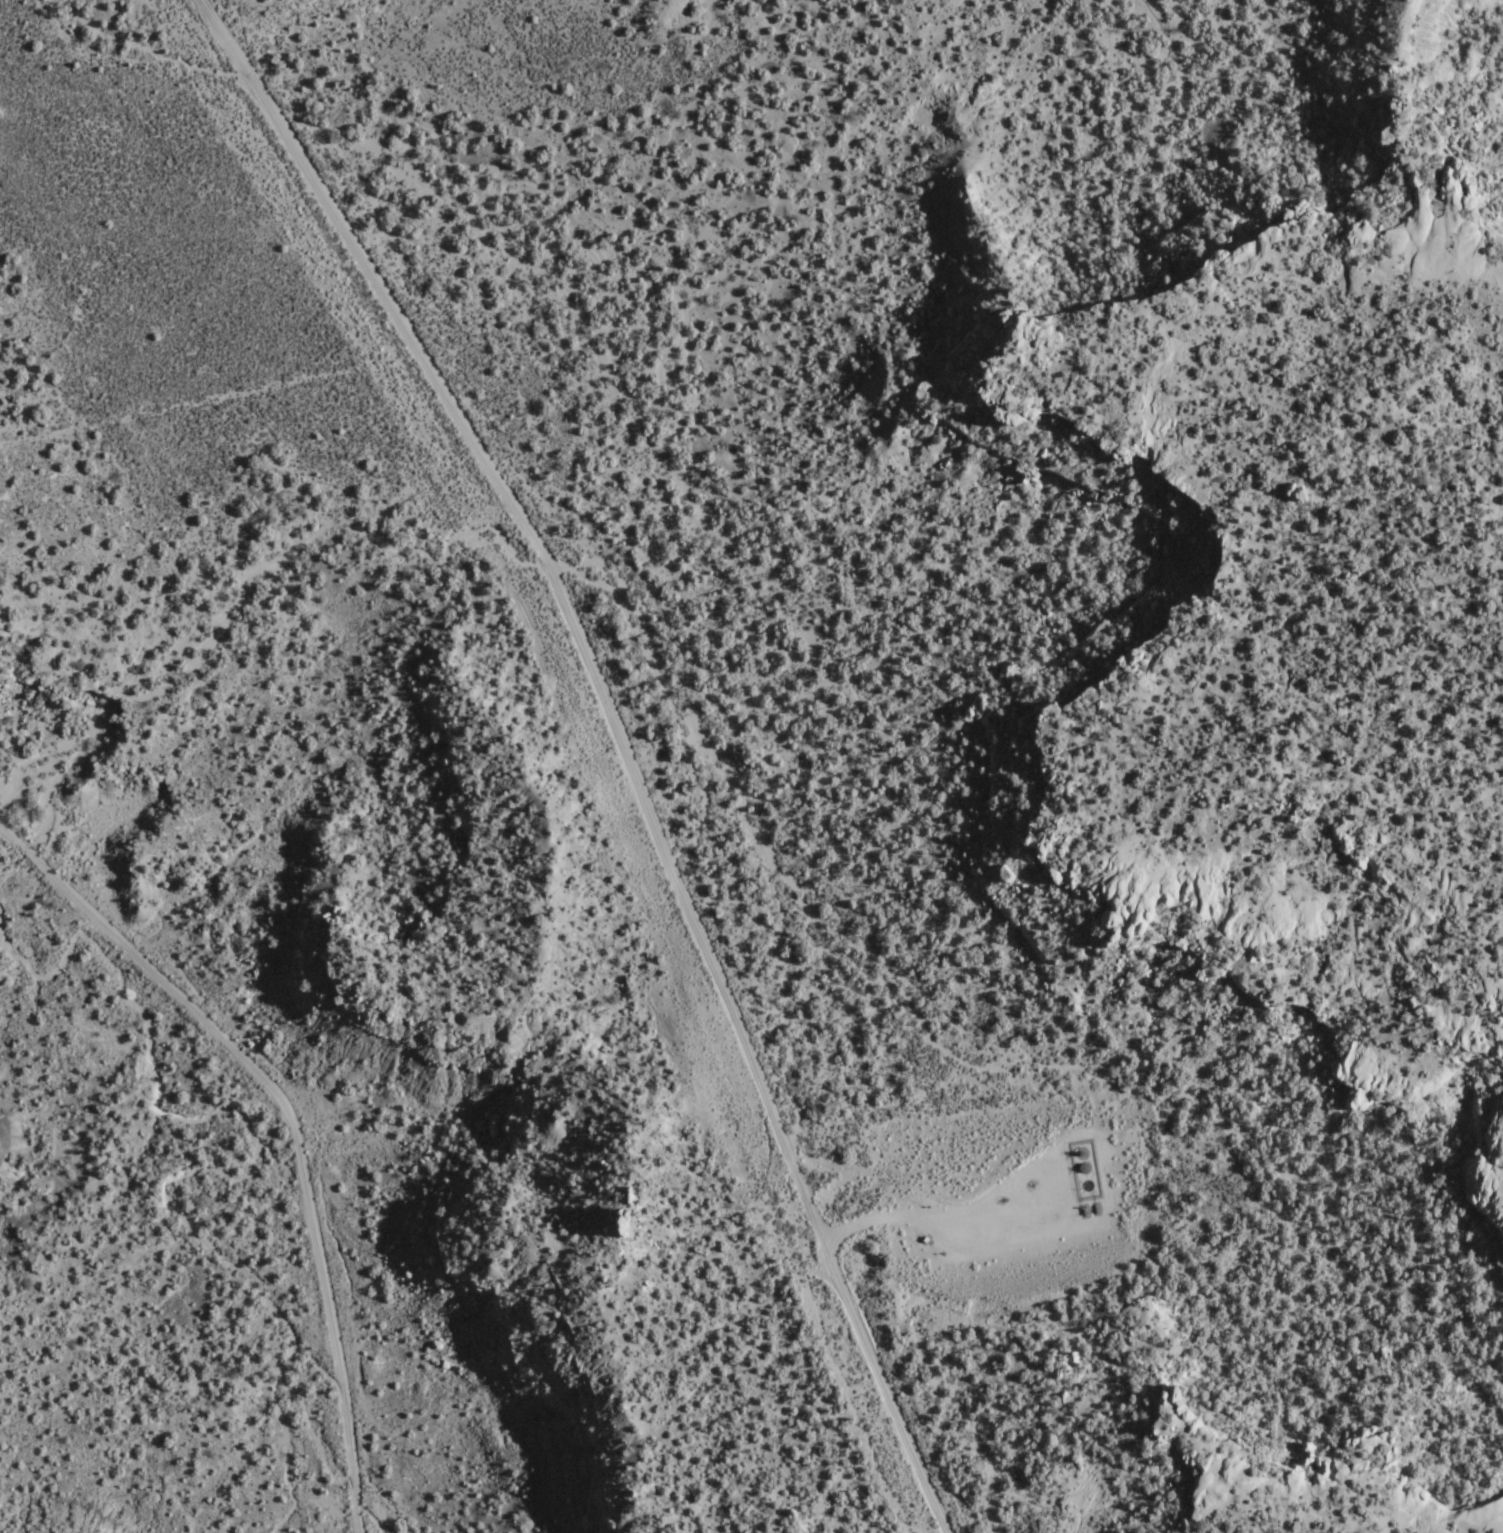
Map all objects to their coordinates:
road: (194, 434)
road: (574, 743)

